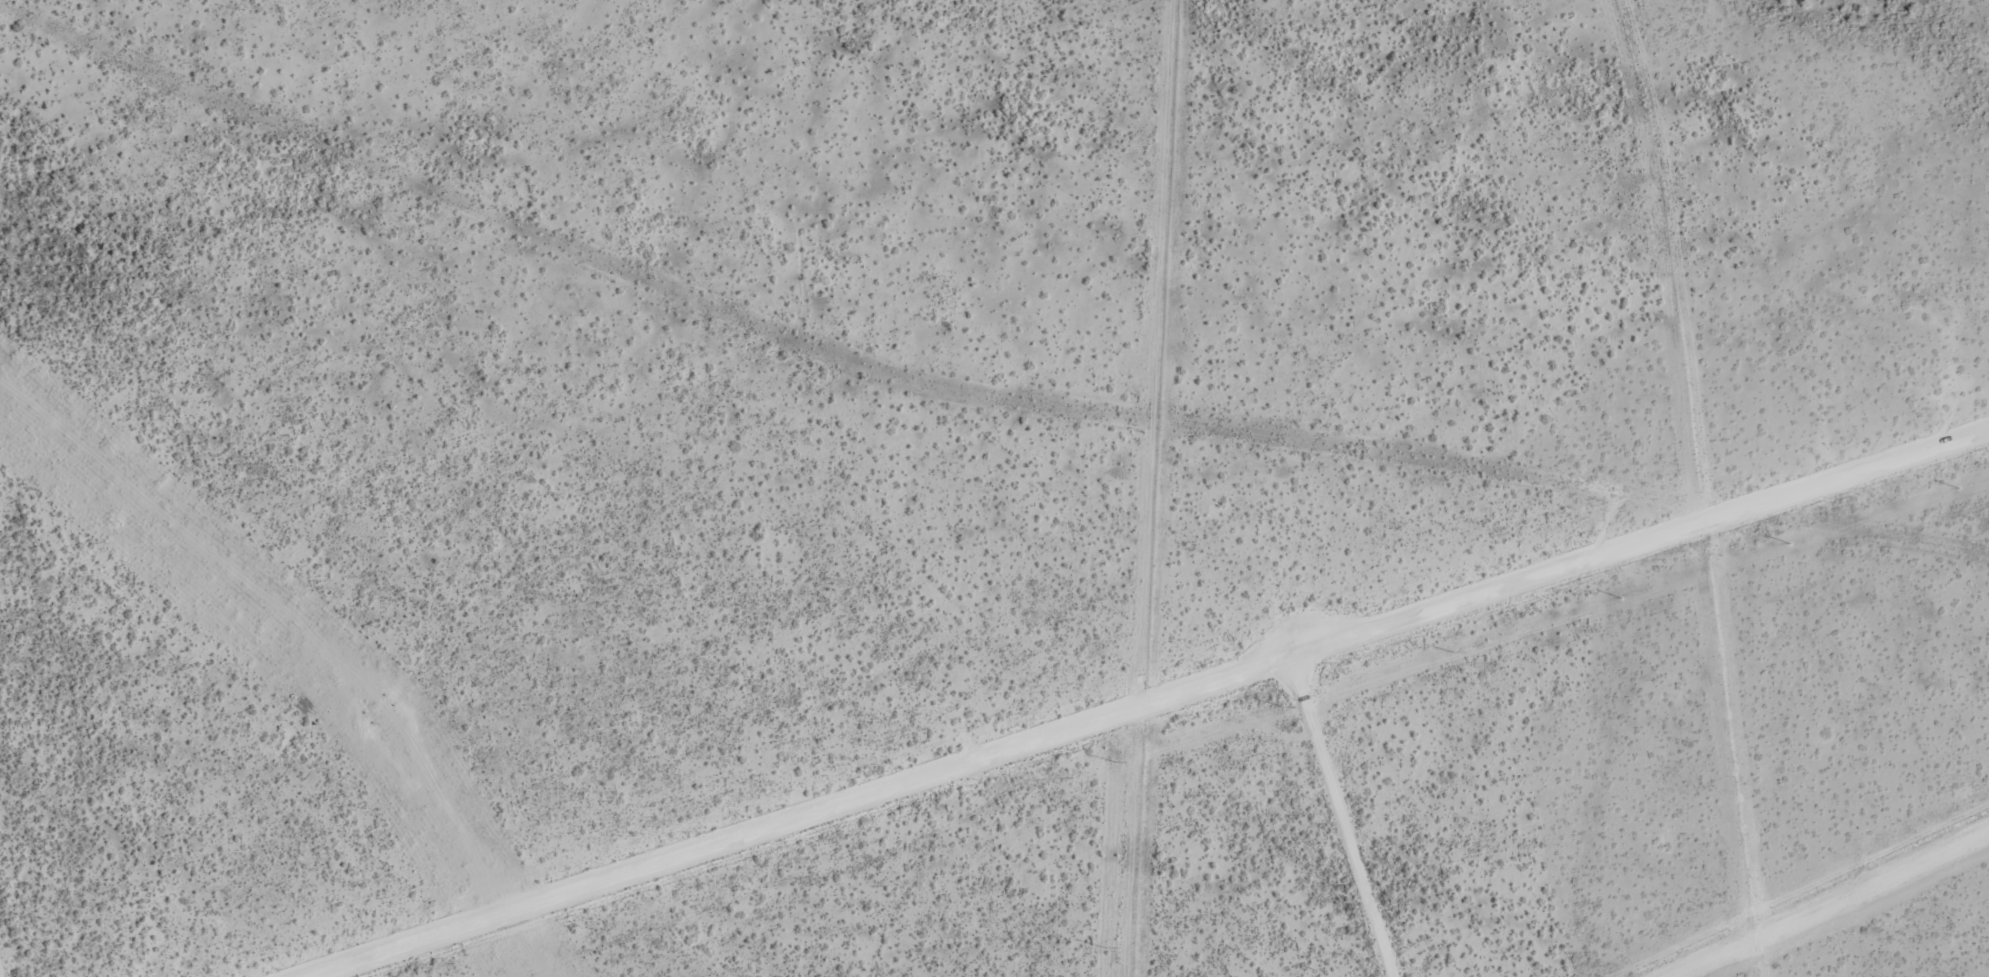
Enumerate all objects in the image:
road: (958, 402)
road: (1146, 702)
power tower: (379, 711)
road: (1262, 716)
road: (1341, 816)

